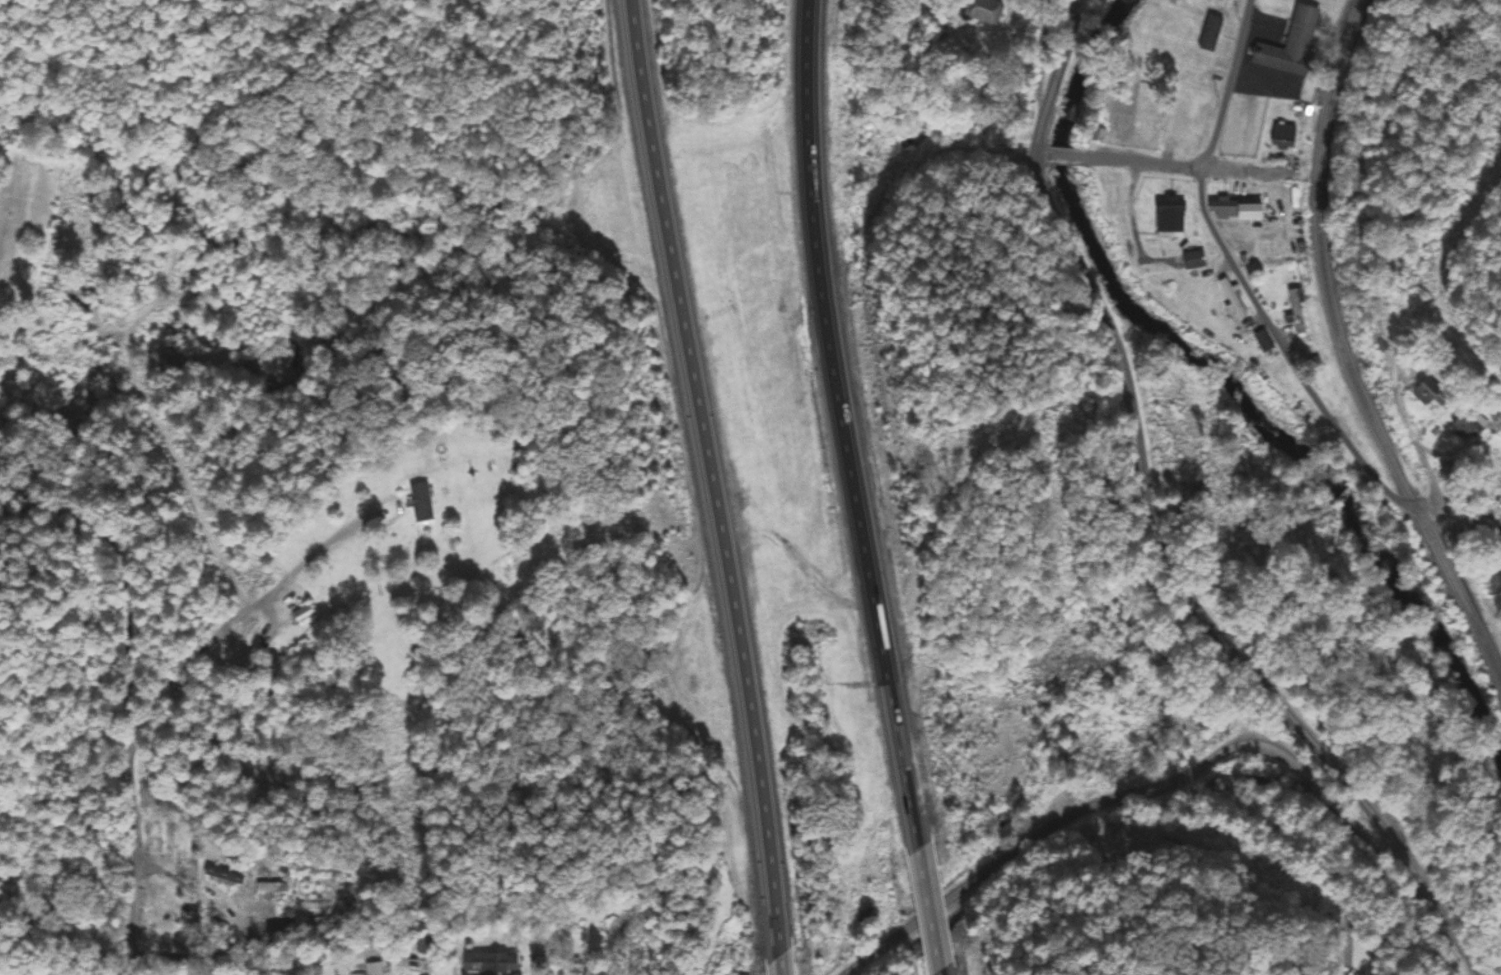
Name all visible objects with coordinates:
building: (981, 11)
building: (1211, 34)
building: (1292, 44)
road: (1041, 47)
road: (1054, 76)
road: (1232, 85)
building: (1283, 136)
building: (1183, 139)
road: (1044, 154)
road: (1065, 154)
road: (1186, 166)
building: (1276, 208)
building: (1224, 209)
building: (1170, 218)
building: (1232, 299)
building: (1296, 311)
building: (1262, 340)
railway: (1345, 352)
road: (1293, 367)
river: (1224, 381)
building: (1426, 391)
road: (1400, 410)
road: (845, 421)
building: (1469, 424)
road: (1441, 450)
building: (1494, 462)
road: (707, 471)
building: (420, 503)
road: (1159, 536)
road: (66, 612)
building: (303, 613)
building: (238, 653)
road: (131, 681)
road: (1123, 793)
building: (161, 831)
road: (1234, 852)
building: (222, 875)
building: (272, 887)
road: (931, 906)
building: (316, 912)
road: (1443, 914)
road: (782, 959)
building: (489, 962)
road: (944, 973)

